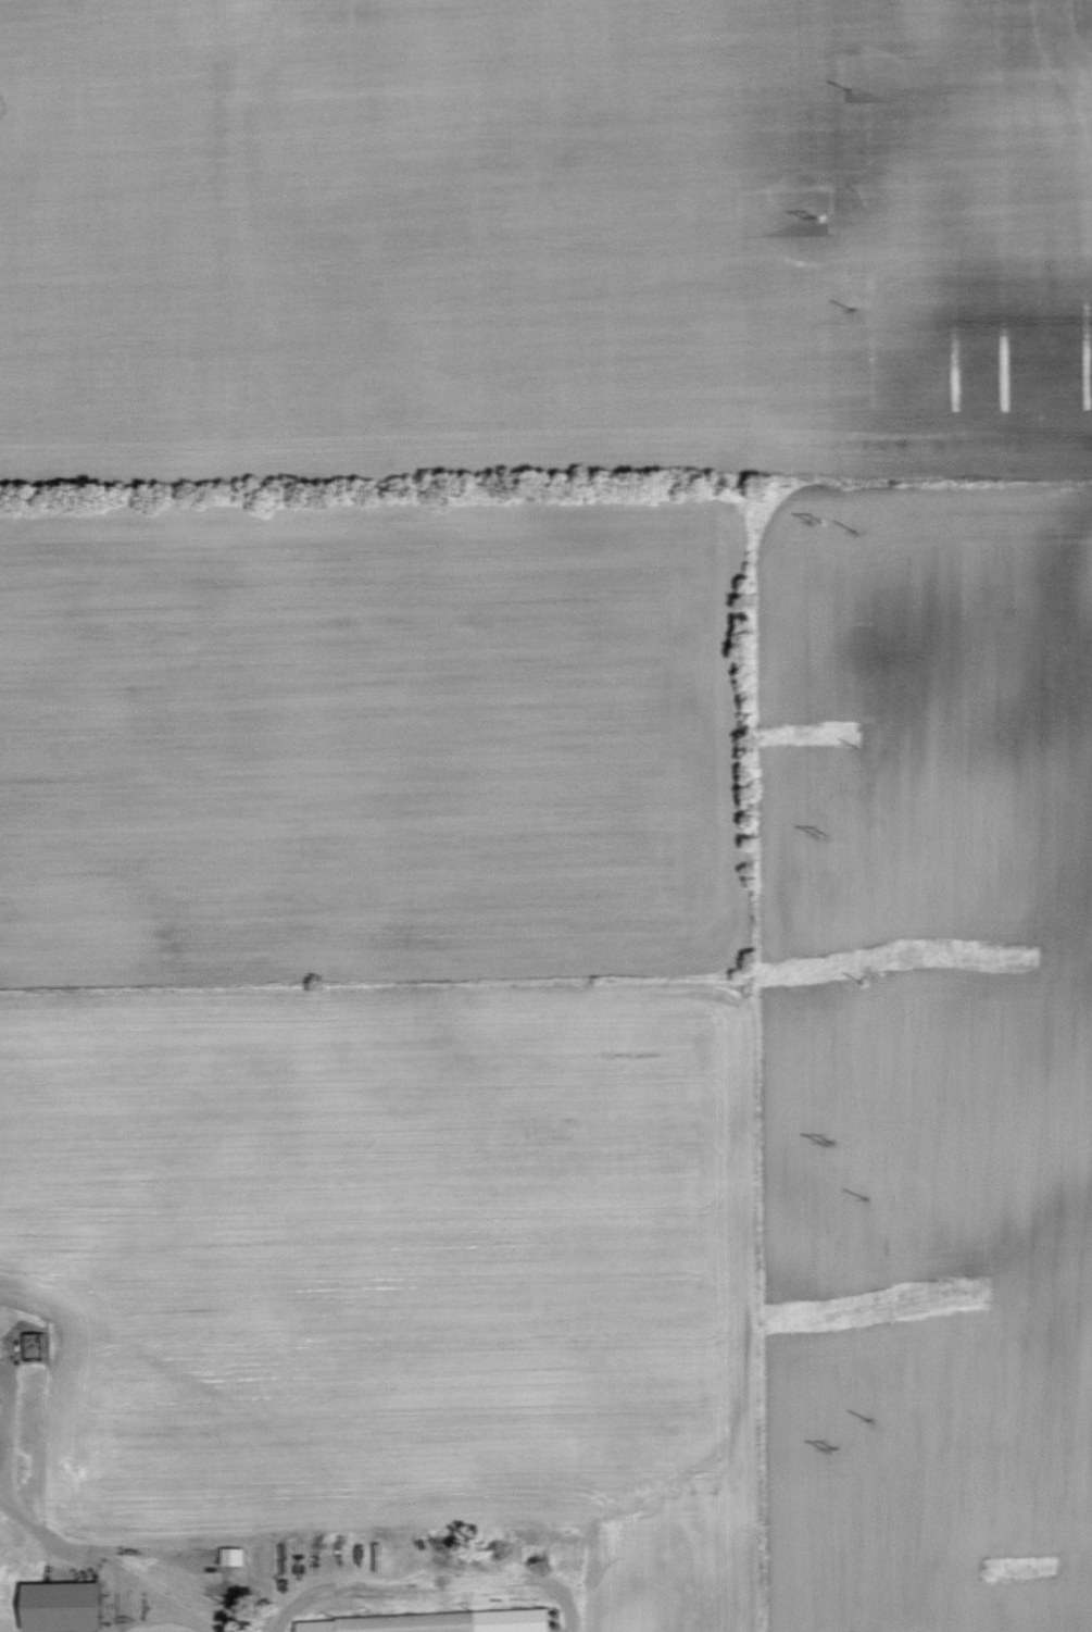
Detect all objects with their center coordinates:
road: (3, 1431)
building: (234, 1556)
road: (100, 1568)
building: (68, 1606)
building: (495, 1621)

